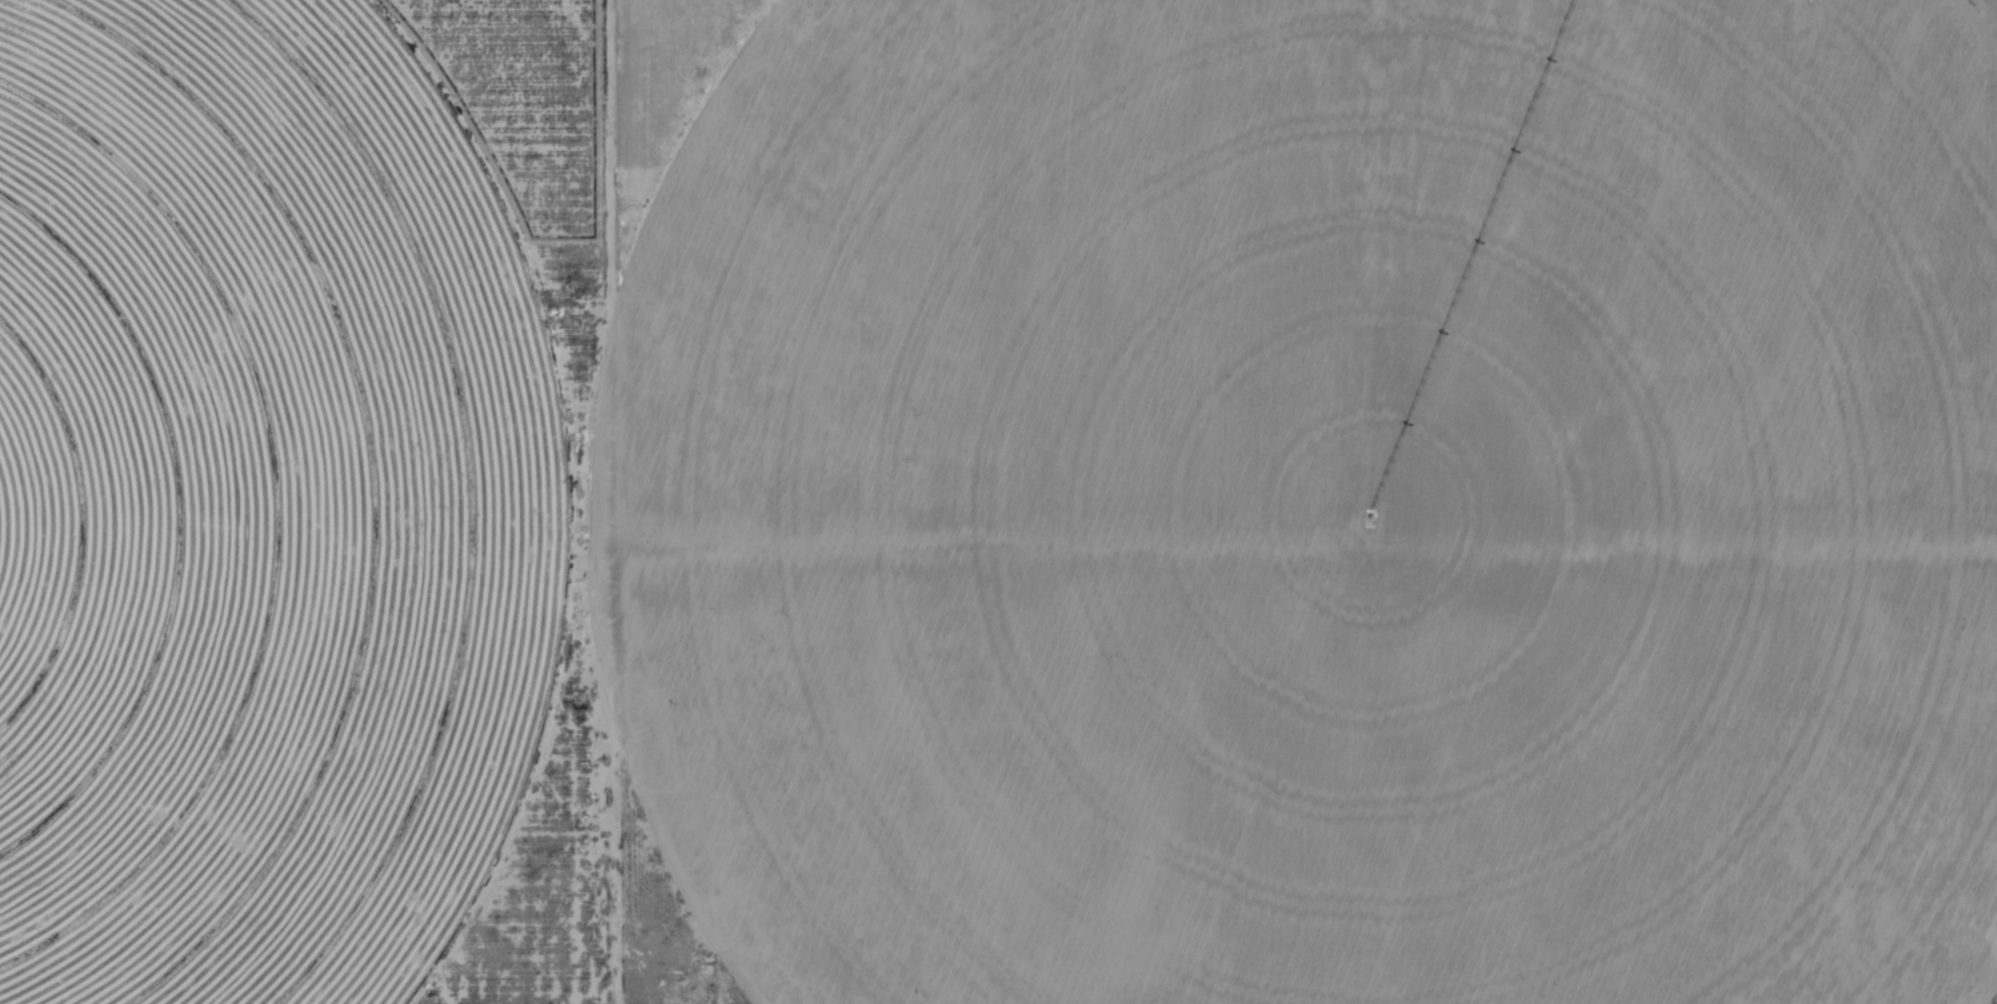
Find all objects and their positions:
road: (599, 502)
crop: (1320, 504)
crop: (259, 507)

